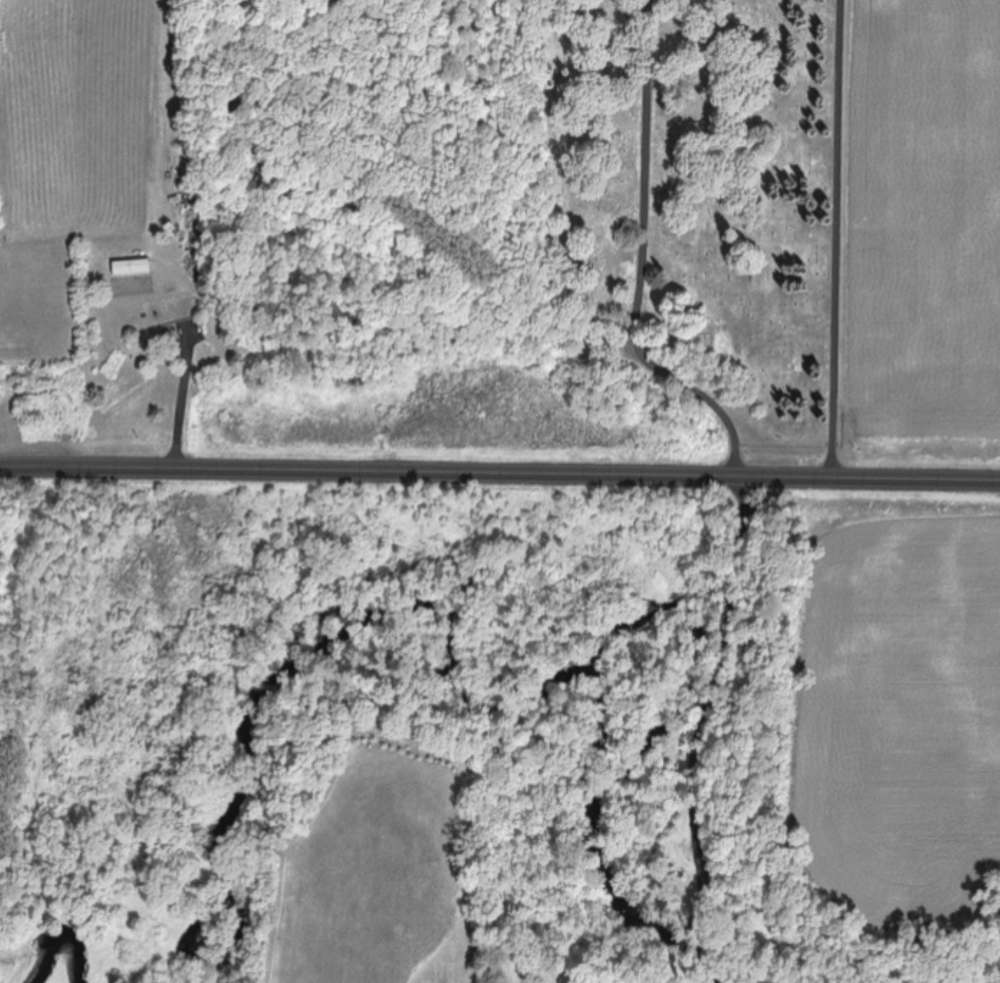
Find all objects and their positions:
building: (193, 199)
building: (128, 268)
road: (499, 478)
road: (783, 742)

